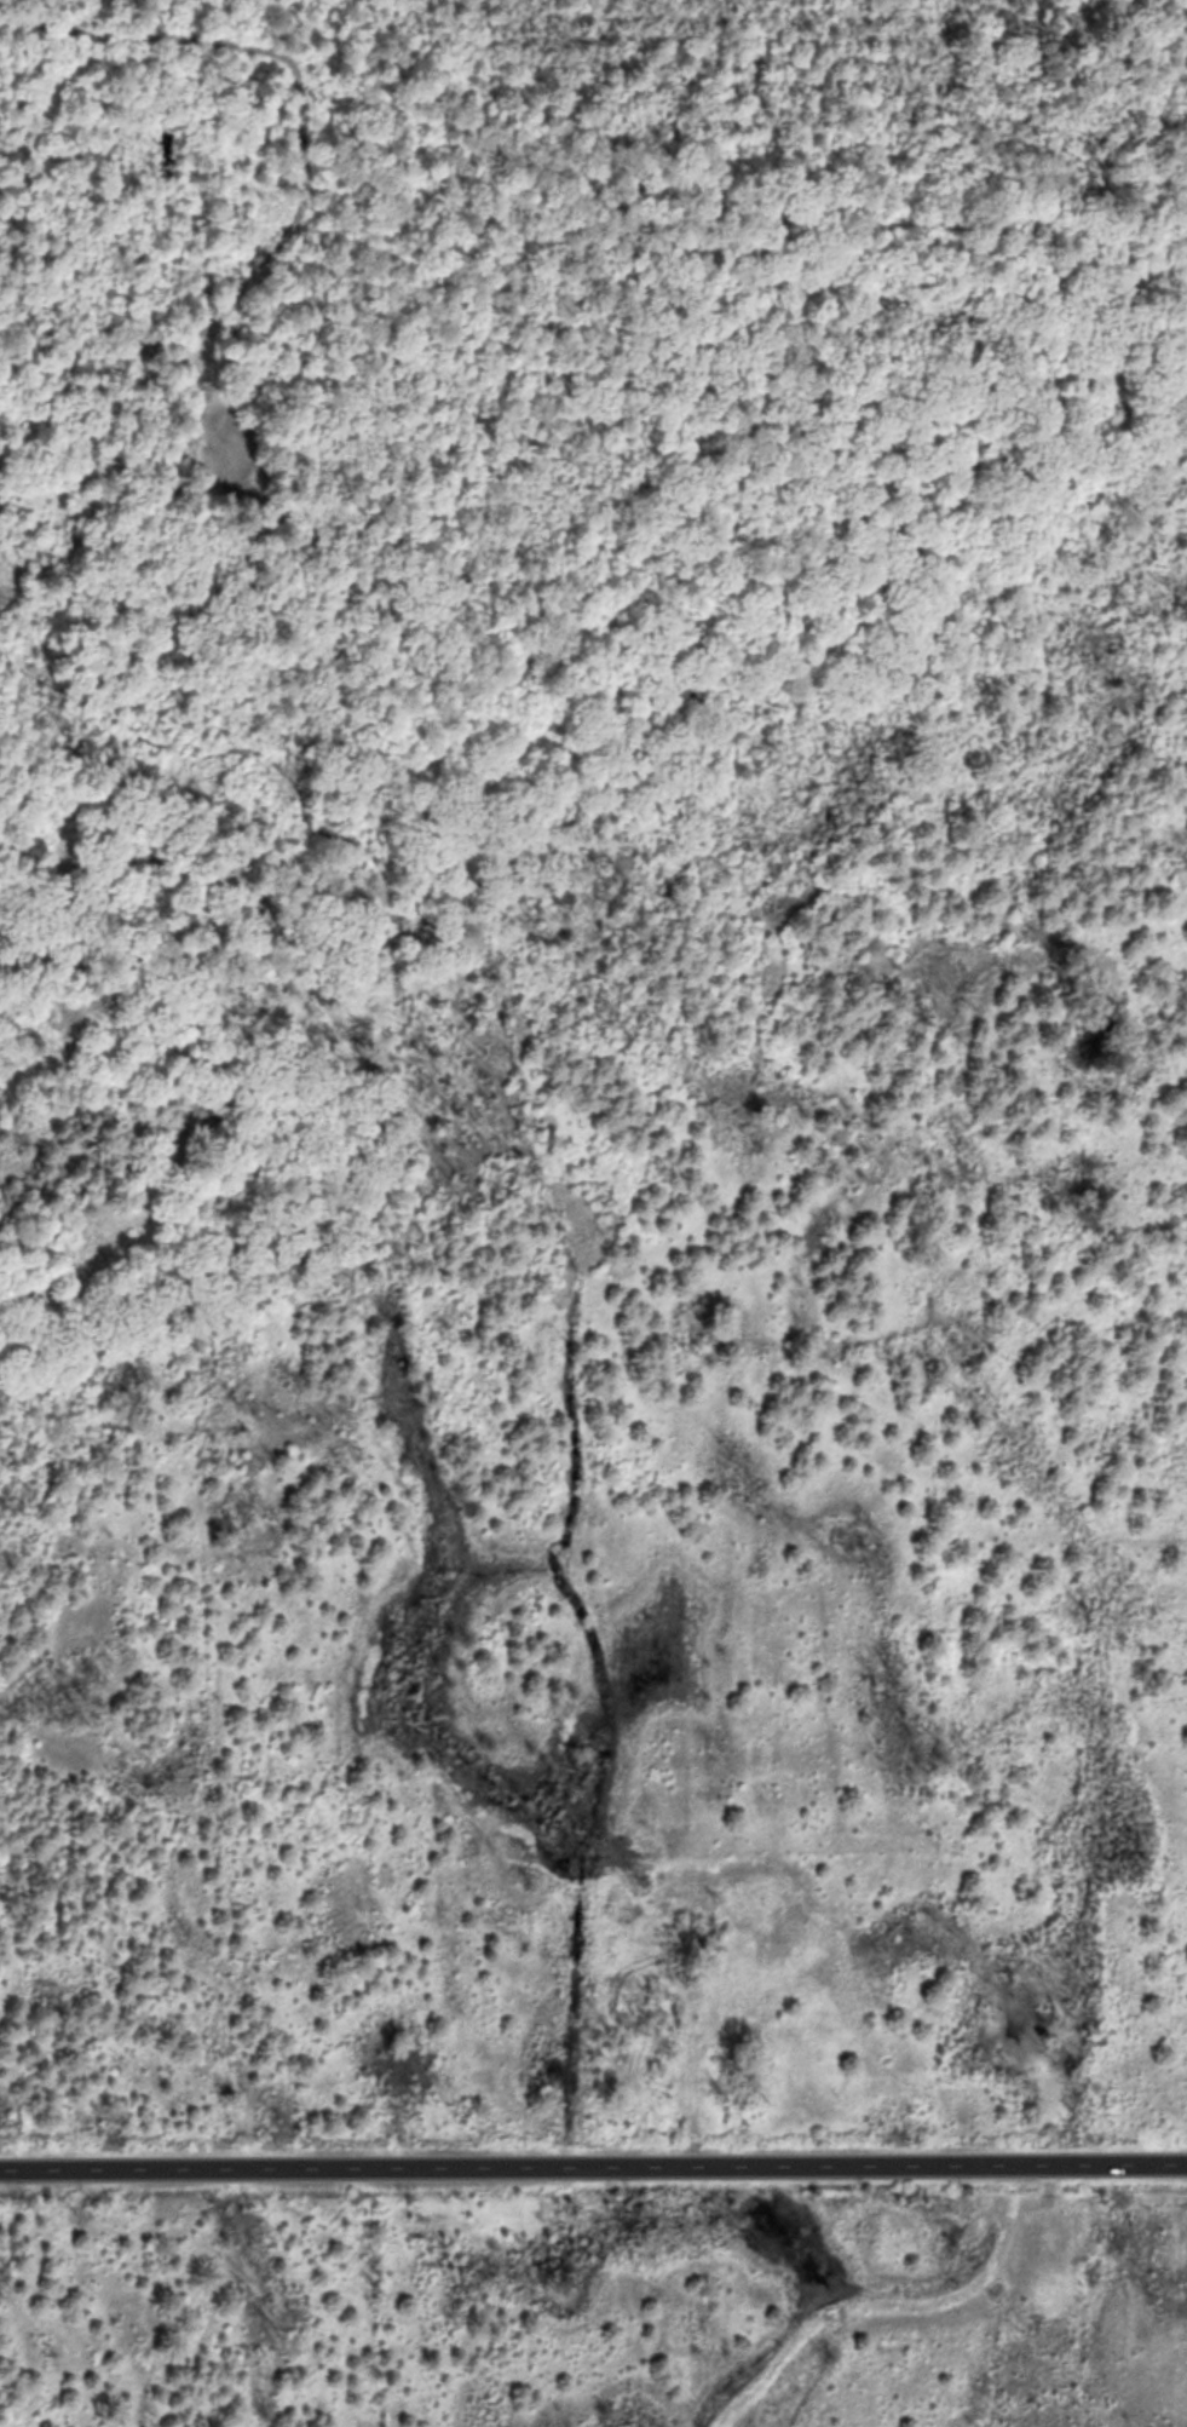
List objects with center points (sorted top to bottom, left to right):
road: (593, 2145)

